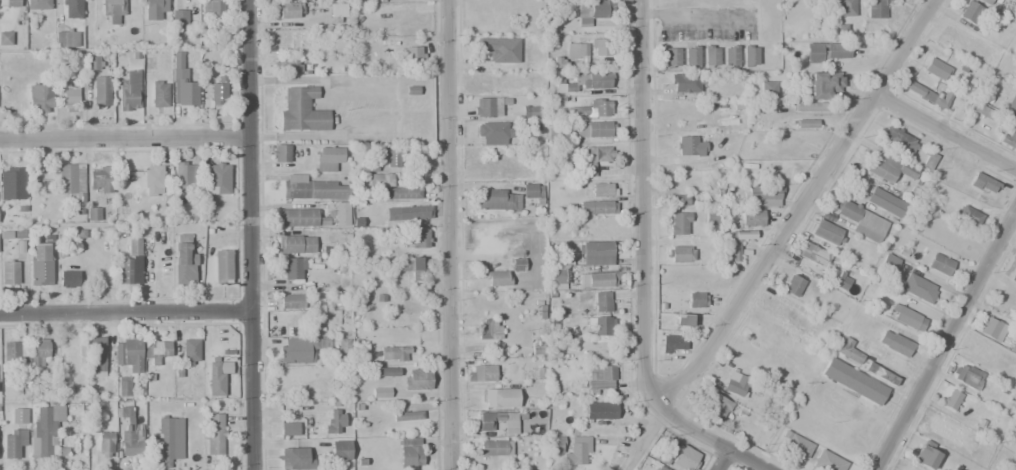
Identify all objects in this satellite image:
building: (1013, 0)
building: (987, 2)
building: (11, 3)
building: (37, 5)
building: (153, 8)
building: (845, 8)
building: (71, 9)
building: (875, 9)
building: (291, 10)
building: (337, 10)
building: (592, 11)
building: (113, 12)
building: (214, 12)
building: (972, 13)
building: (179, 21)
building: (5, 38)
building: (65, 38)
building: (598, 47)
building: (500, 49)
building: (580, 51)
building: (828, 52)
building: (411, 55)
building: (690, 55)
building: (710, 55)
building: (749, 55)
building: (730, 56)
building: (671, 57)
building: (93, 63)
building: (287, 66)
building: (935, 69)
building: (181, 83)
building: (686, 83)
building: (586, 84)
building: (824, 84)
building: (101, 90)
building: (767, 90)
building: (129, 91)
building: (218, 91)
building: (69, 92)
building: (159, 93)
building: (930, 94)
building: (40, 98)
building: (1012, 102)
building: (490, 106)
building: (812, 107)
building: (599, 108)
building: (302, 110)
building: (530, 111)
building: (986, 113)
building: (1014, 116)
building: (806, 124)
road: (945, 128)
building: (594, 129)
building: (494, 132)
road: (123, 138)
building: (1009, 138)
building: (898, 140)
building: (690, 147)
building: (280, 153)
building: (390, 156)
building: (327, 158)
building: (595, 158)
building: (927, 160)
building: (888, 167)
building: (185, 176)
building: (218, 178)
building: (100, 179)
building: (152, 180)
building: (374, 180)
building: (11, 183)
building: (71, 183)
building: (983, 184)
building: (312, 189)
building: (600, 189)
building: (533, 191)
building: (401, 192)
building: (761, 196)
building: (678, 198)
building: (498, 199)
building: (885, 202)
building: (597, 207)
building: (408, 213)
building: (93, 214)
building: (968, 215)
building: (315, 216)
building: (751, 217)
road: (644, 219)
building: (861, 219)
building: (678, 224)
building: (605, 228)
road: (790, 233)
building: (827, 233)
road: (248, 234)
road: (449, 235)
building: (414, 238)
building: (738, 242)
building: (295, 244)
building: (134, 247)
building: (20, 248)
building: (595, 253)
building: (680, 254)
building: (812, 254)
building: (184, 260)
building: (888, 263)
building: (40, 264)
building: (517, 264)
building: (940, 264)
building: (222, 266)
building: (292, 268)
building: (416, 268)
building: (125, 271)
building: (10, 273)
building: (1013, 275)
building: (557, 277)
building: (497, 278)
building: (68, 279)
building: (599, 279)
building: (841, 281)
building: (793, 286)
building: (918, 288)
building: (291, 300)
building: (696, 300)
building: (602, 301)
road: (124, 310)
building: (907, 317)
building: (683, 320)
building: (990, 328)
building: (489, 329)
building: (604, 329)
road: (945, 338)
building: (672, 343)
building: (894, 343)
building: (537, 347)
building: (156, 349)
building: (299, 349)
building: (13, 350)
building: (38, 350)
building: (848, 350)
building: (190, 352)
building: (128, 353)
building: (395, 354)
building: (97, 358)
building: (386, 371)
building: (480, 373)
building: (883, 375)
building: (967, 375)
building: (217, 377)
building: (601, 377)
building: (13, 380)
building: (416, 380)
building: (853, 381)
building: (734, 384)
building: (123, 388)
building: (381, 392)
building: (501, 398)
building: (950, 399)
building: (716, 406)
building: (1009, 406)
building: (123, 410)
building: (602, 410)
building: (57, 412)
building: (408, 415)
building: (18, 416)
building: (334, 421)
building: (510, 426)
building: (288, 428)
building: (44, 433)
building: (214, 434)
building: (167, 439)
building: (132, 441)
building: (13, 442)
building: (794, 443)
building: (105, 444)
building: (556, 444)
road: (723, 447)
building: (495, 448)
building: (339, 450)
building: (577, 450)
building: (410, 452)
building: (924, 455)
building: (294, 456)
building: (685, 458)
road: (723, 460)
building: (827, 461)
building: (660, 468)

